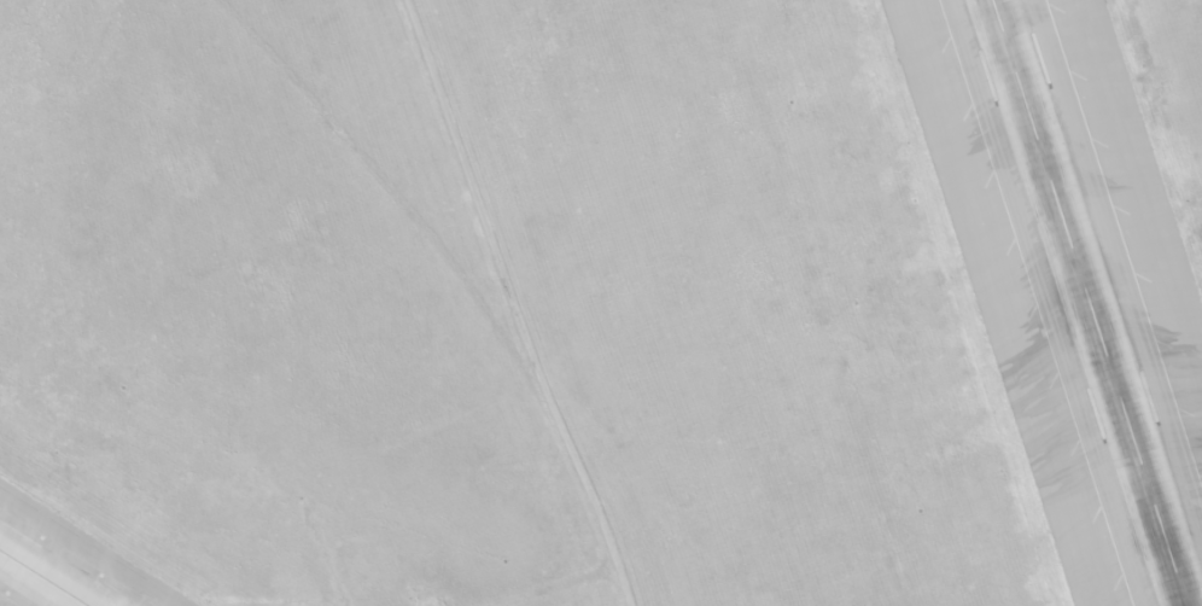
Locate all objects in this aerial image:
airport: (601, 303)
airport runway: (1086, 303)
airport taxiway: (42, 578)

